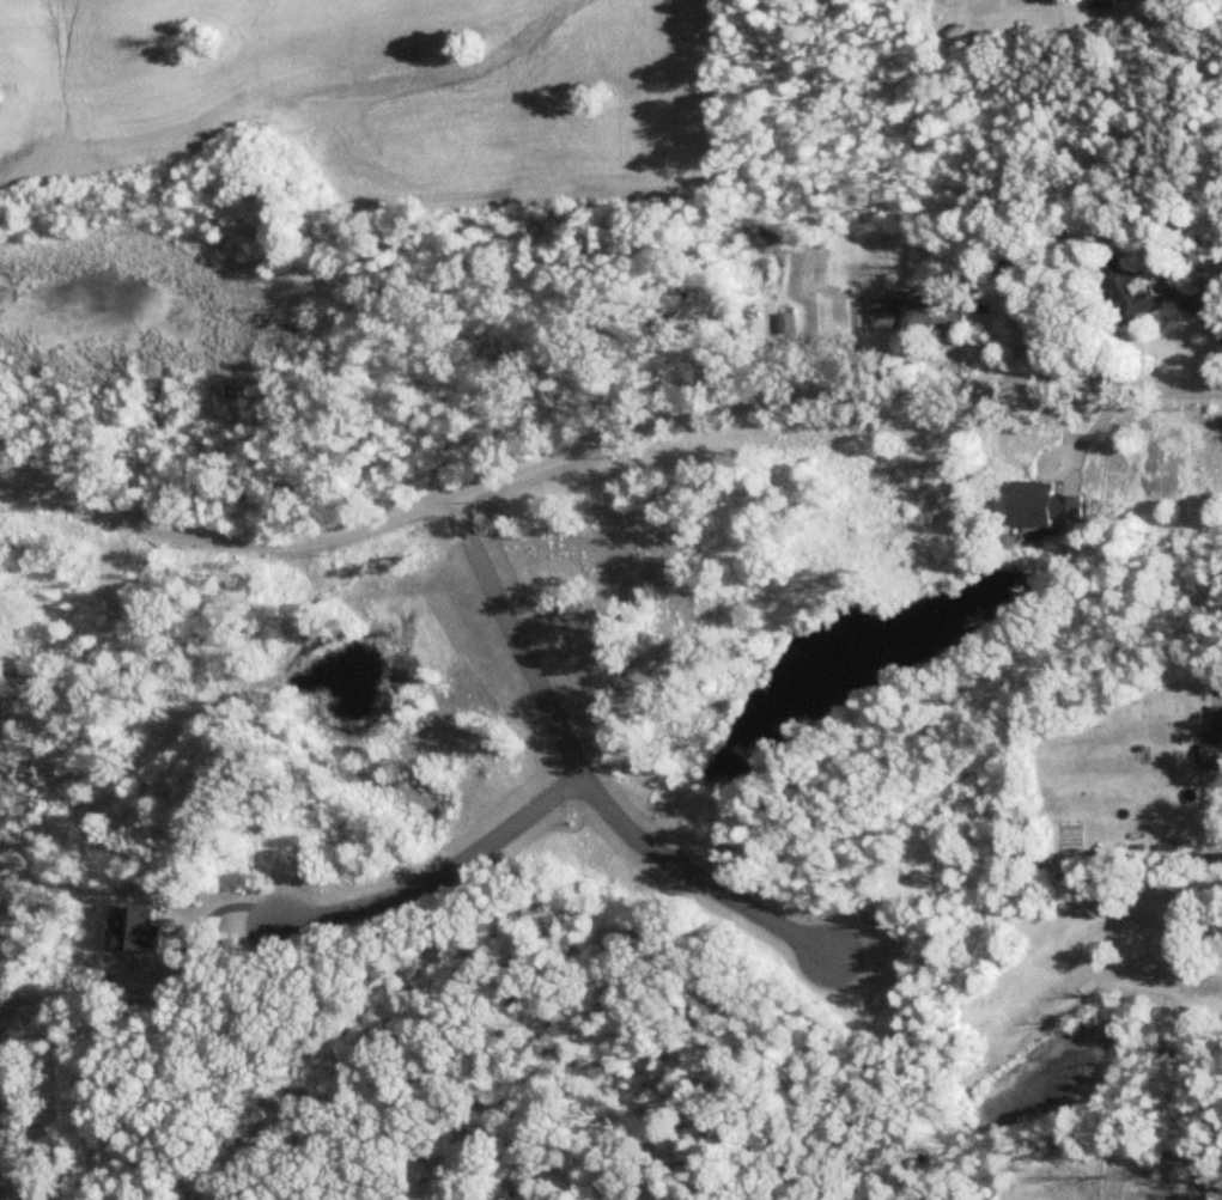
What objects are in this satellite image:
building: (1102, 4)
building: (1125, 291)
building: (914, 318)
road: (601, 441)
building: (1215, 738)
road: (579, 774)
road: (440, 871)

